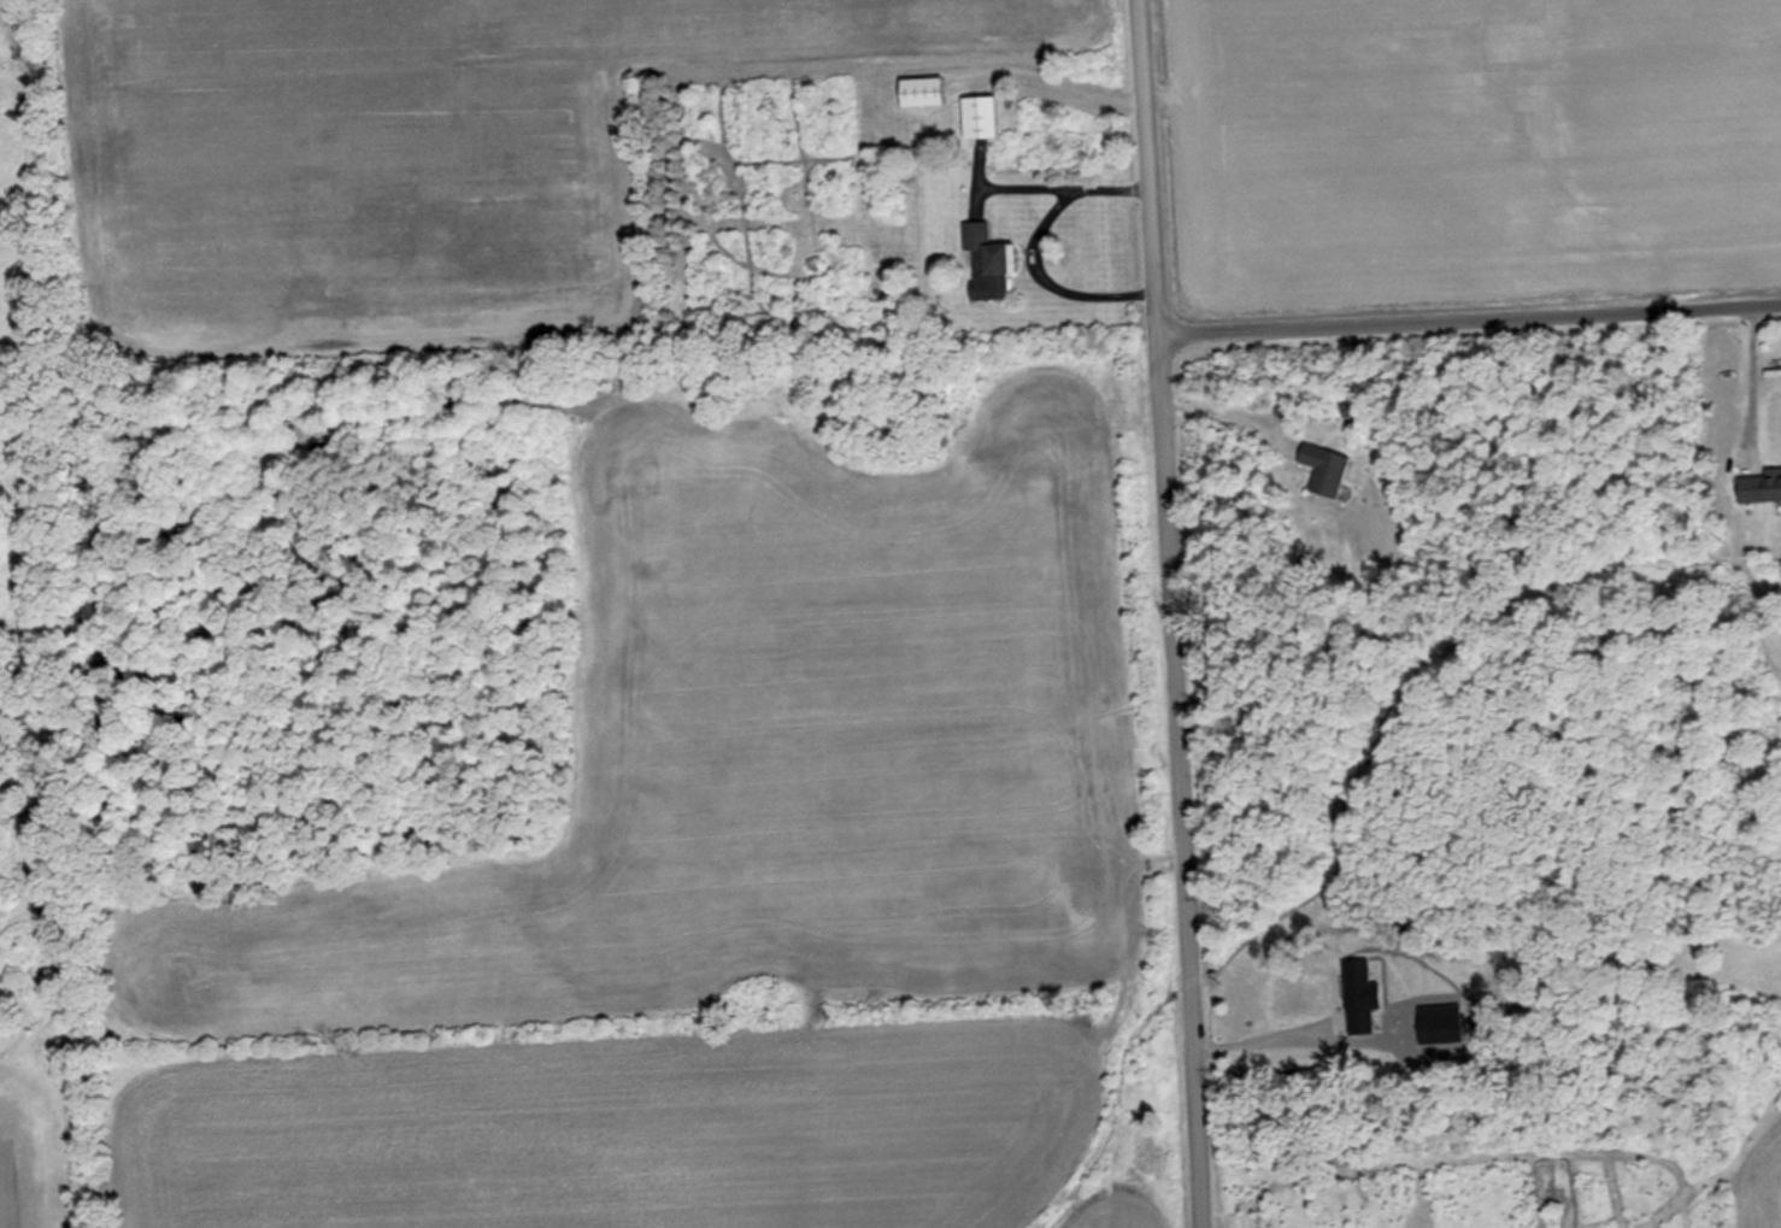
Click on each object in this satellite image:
building: (919, 92)
building: (977, 117)
building: (986, 263)
road: (1465, 321)
building: (1323, 471)
building: (1759, 487)
road: (1166, 613)
building: (1359, 999)

